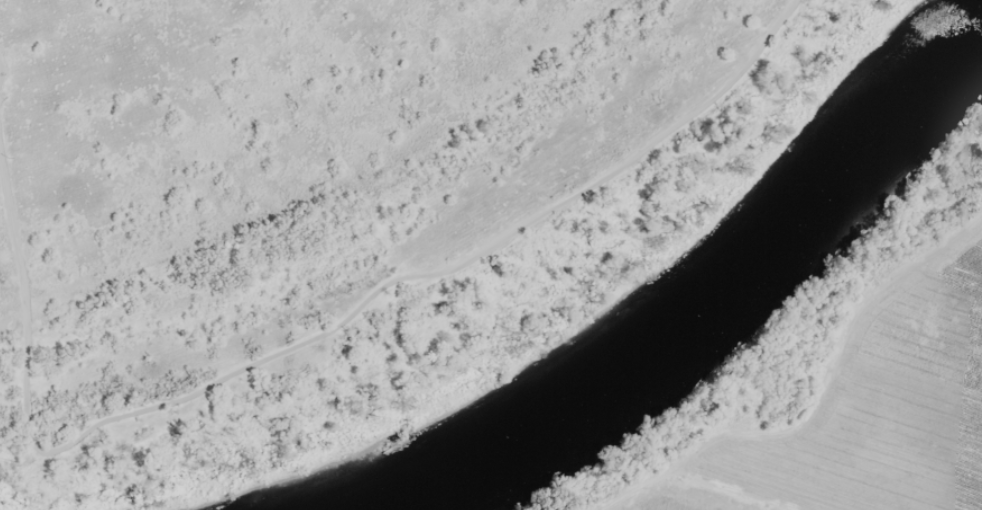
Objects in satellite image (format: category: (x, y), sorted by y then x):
river: (711, 309)

